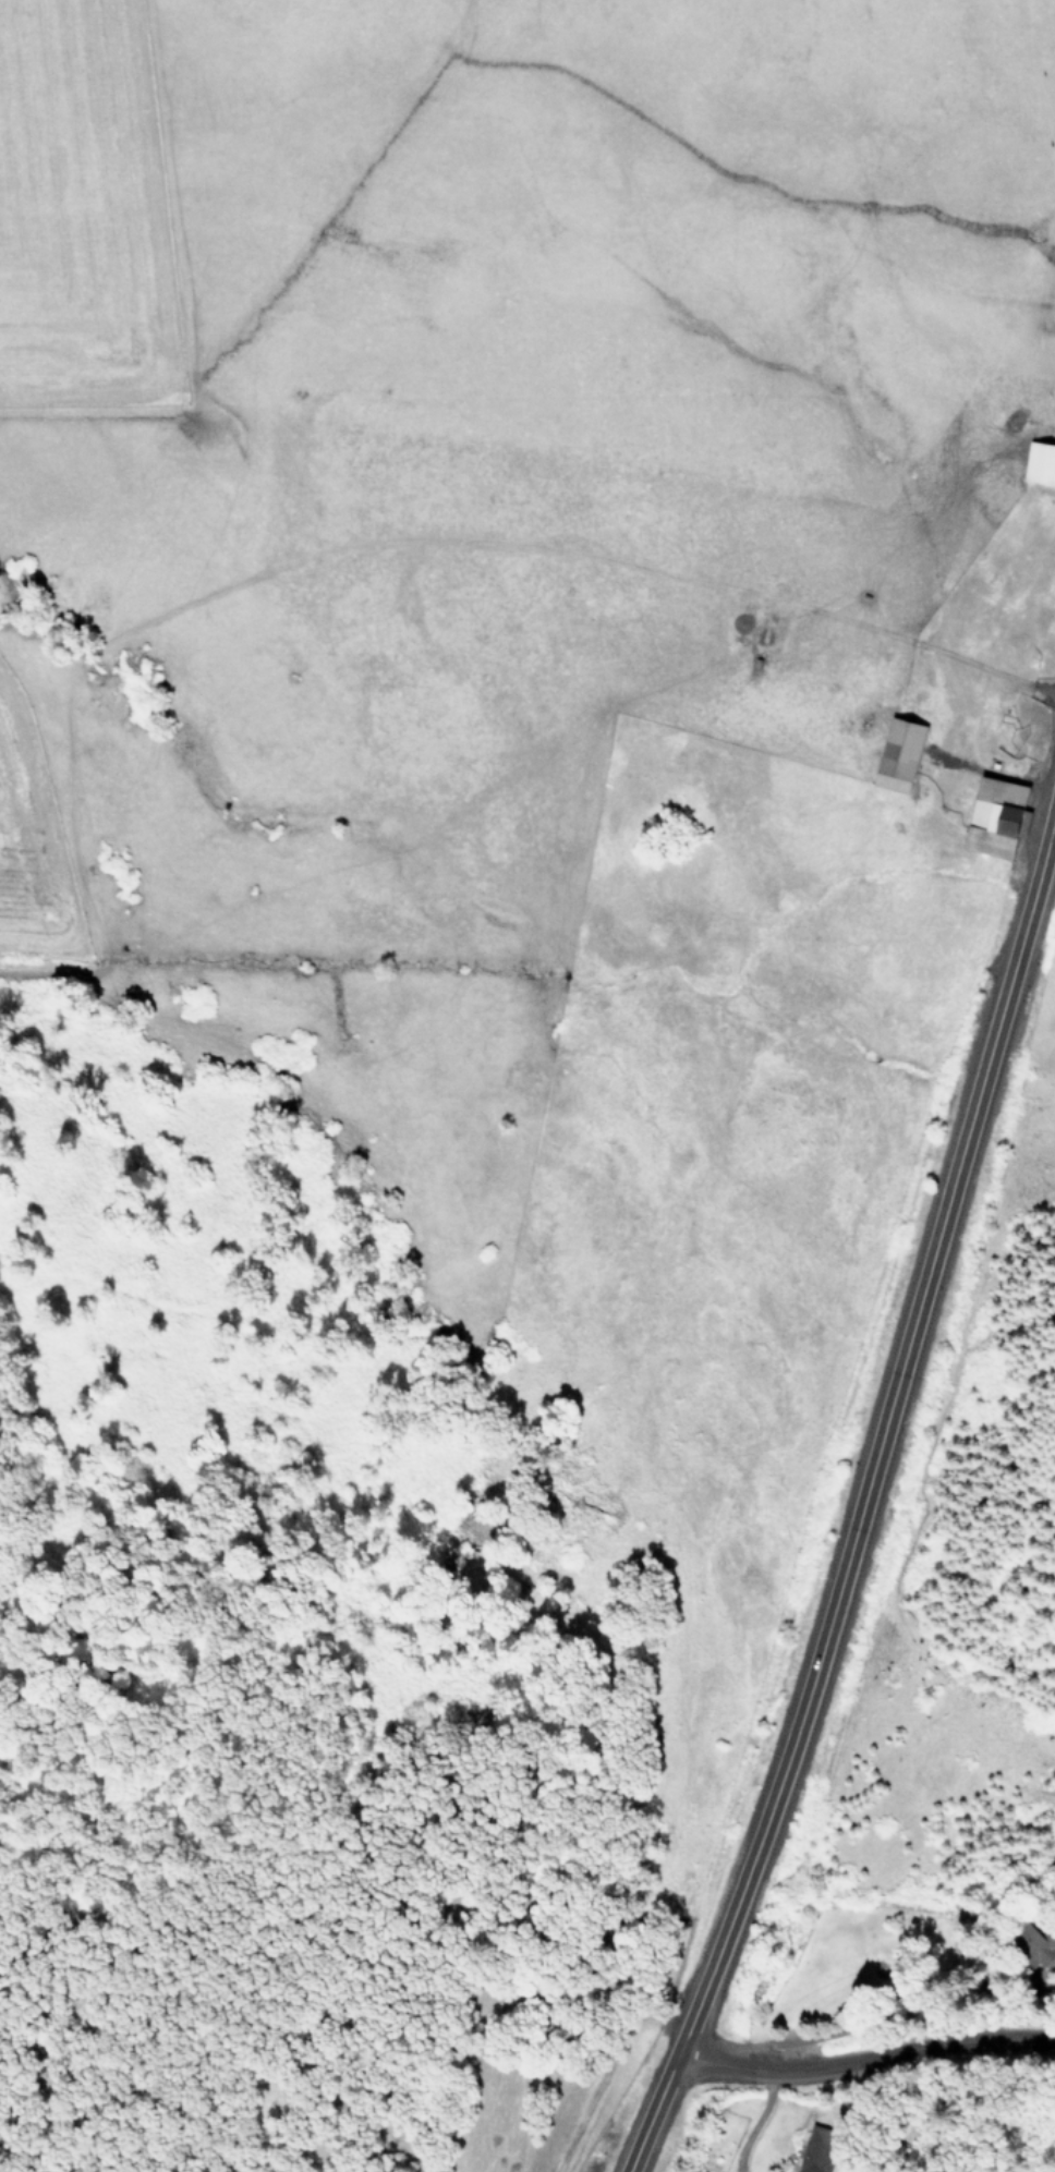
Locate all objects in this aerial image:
building: (1041, 461)
crop: (536, 631)
building: (899, 754)
building: (998, 816)
road: (861, 1485)
road: (943, 1496)
building: (1036, 1943)
road: (878, 2019)
road: (861, 2063)
road: (755, 2123)
building: (813, 2149)

